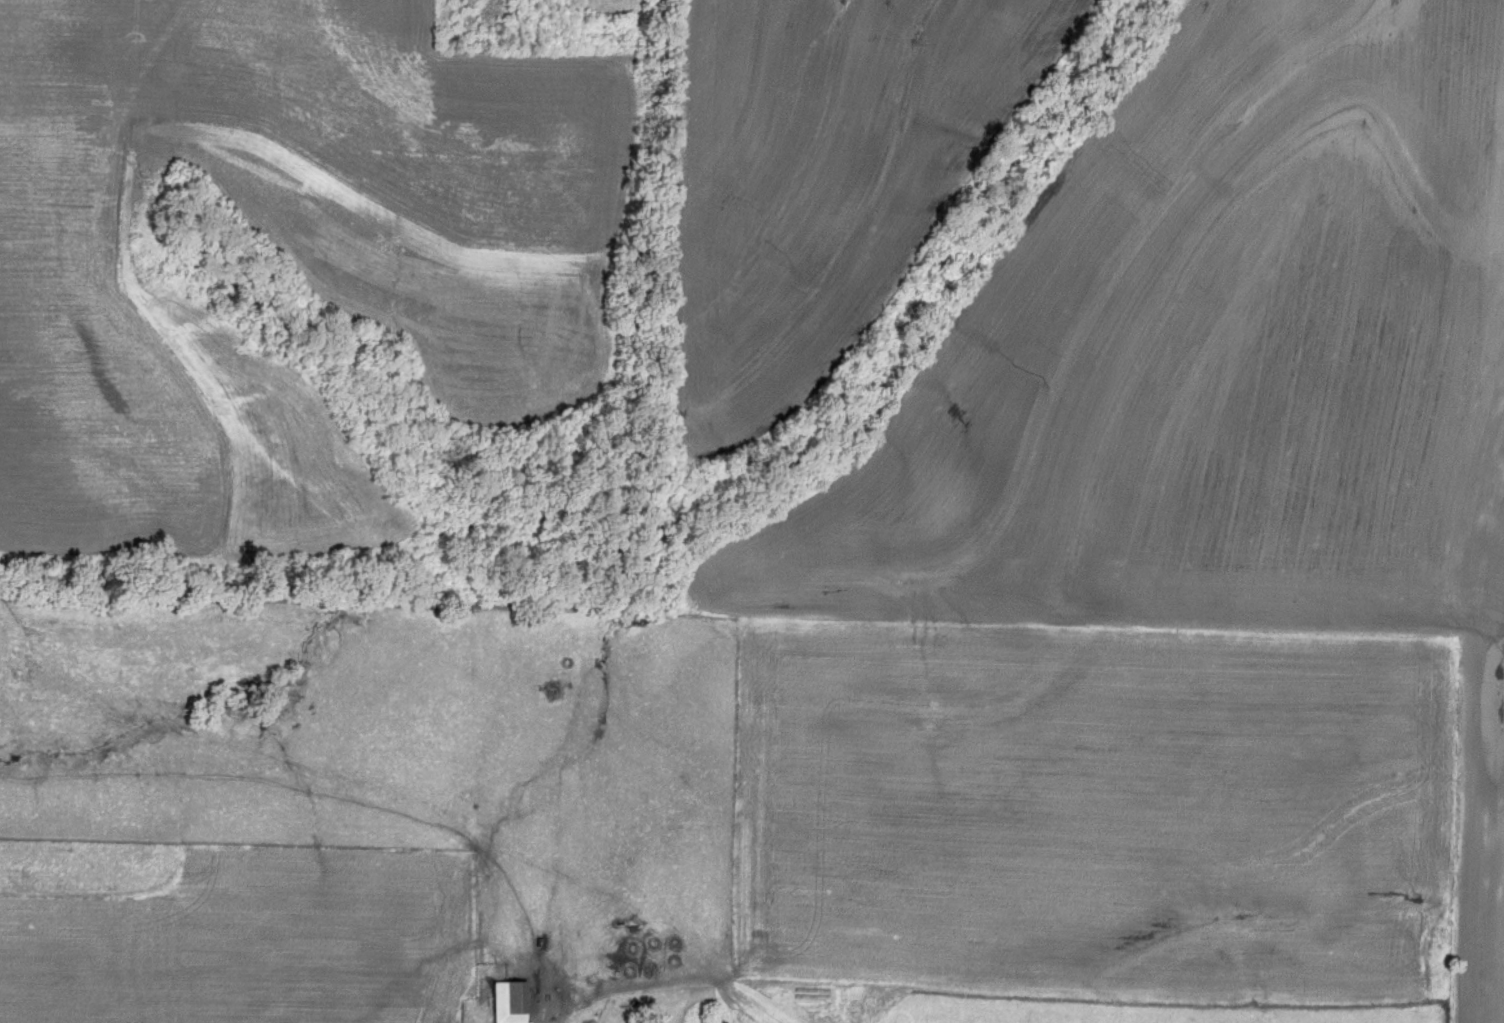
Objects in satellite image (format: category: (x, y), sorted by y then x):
building: (506, 1000)

